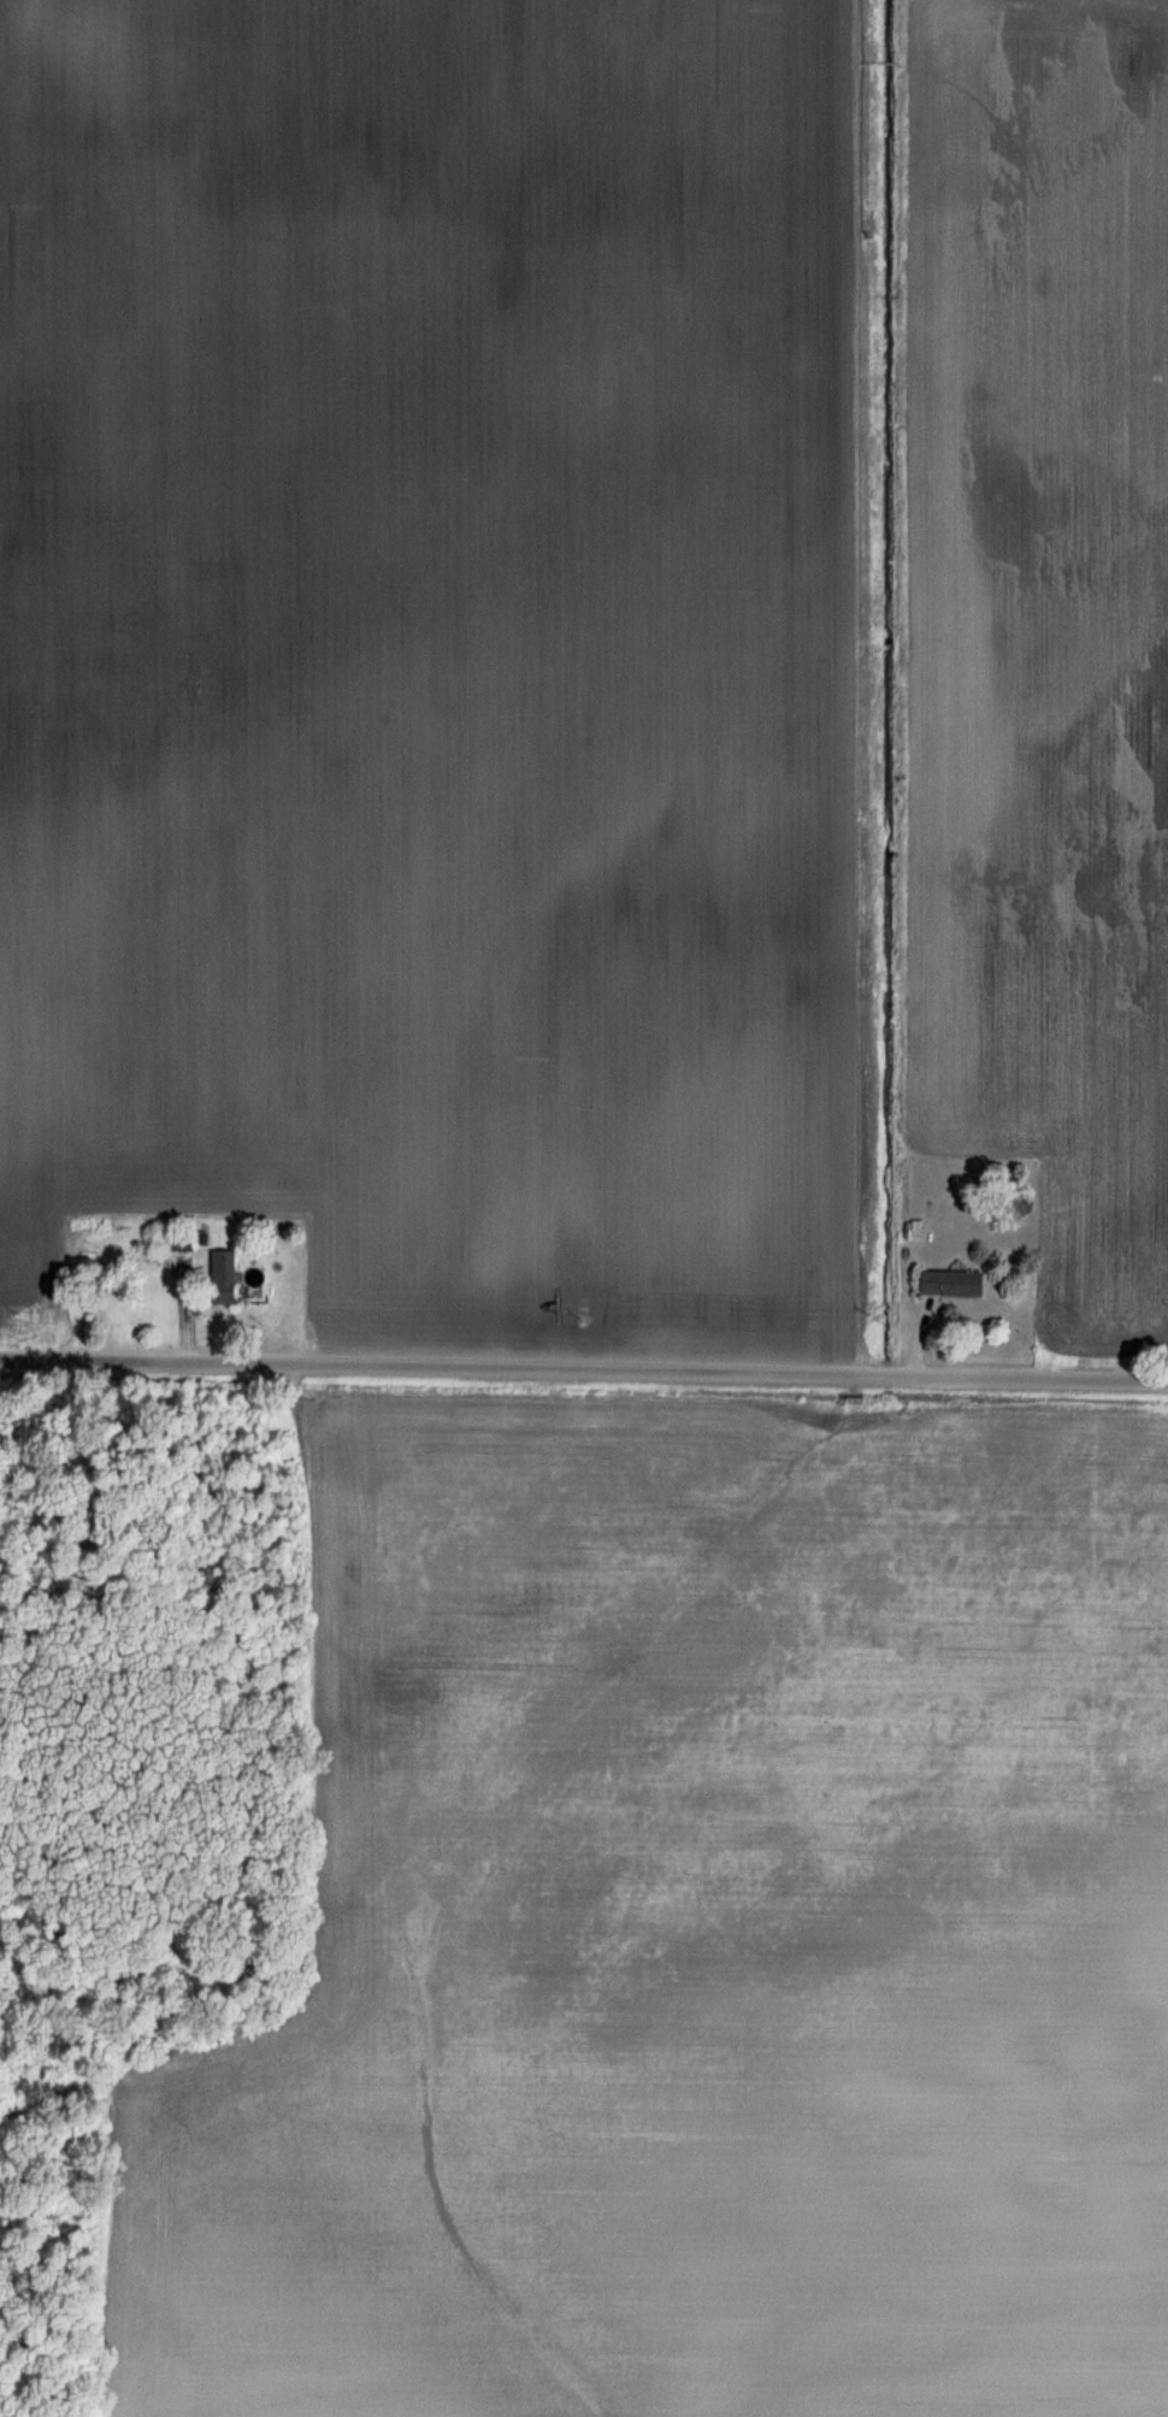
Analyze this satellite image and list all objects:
building: (919, 1230)
building: (188, 1240)
building: (229, 1275)
building: (960, 1283)
road: (583, 1368)

